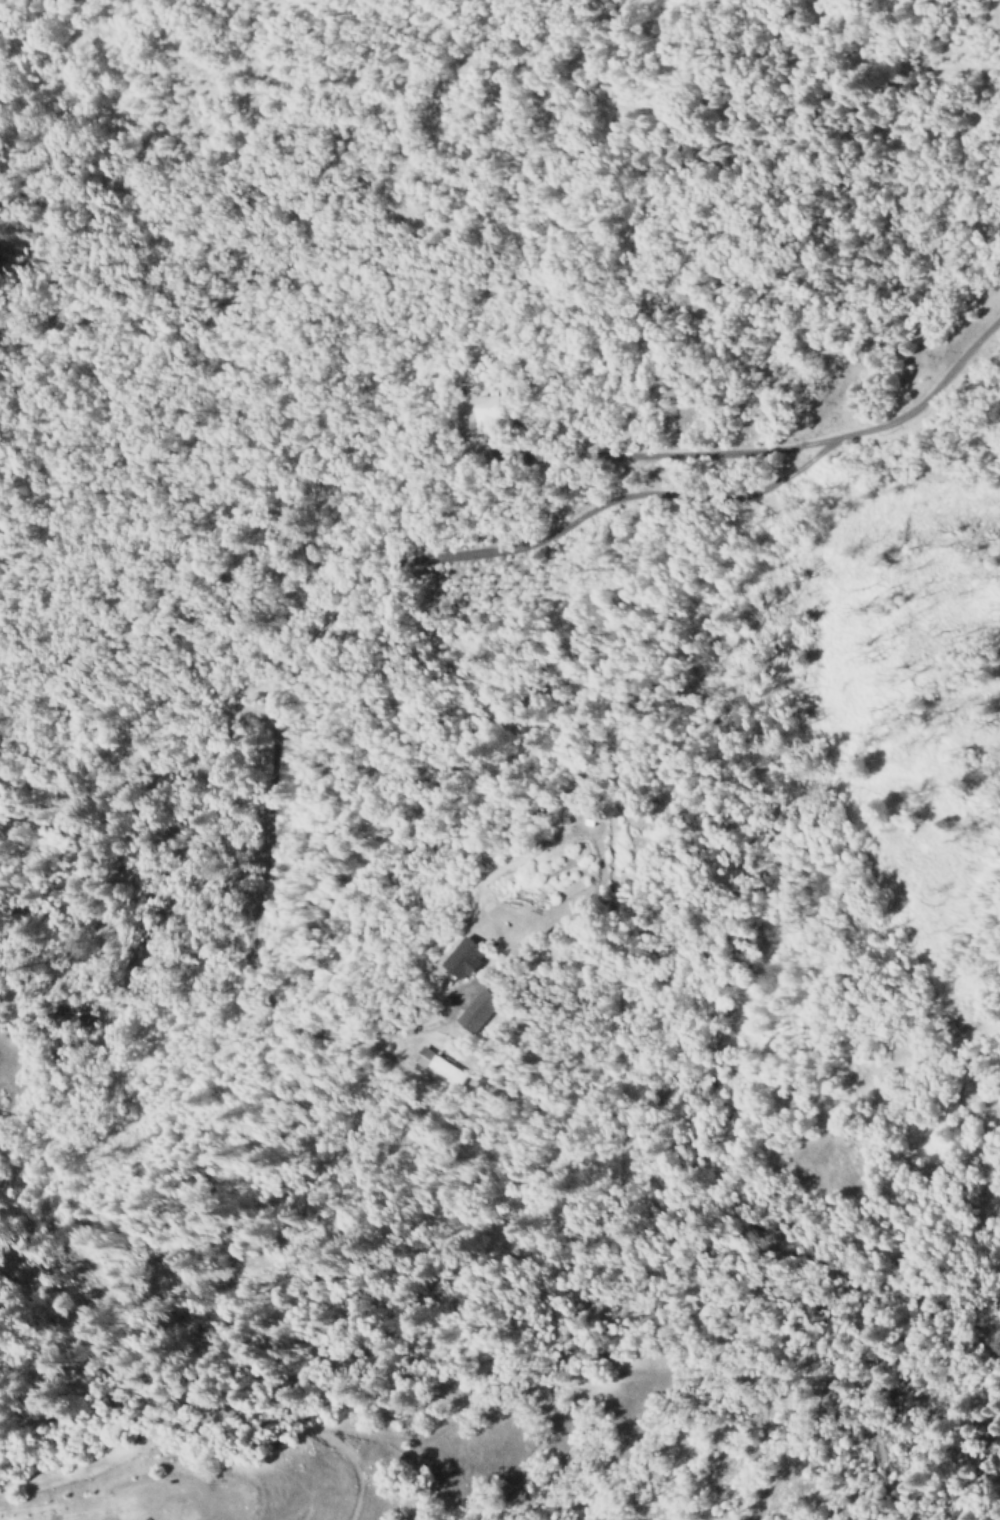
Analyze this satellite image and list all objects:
road: (930, 395)
road: (664, 457)
road: (302, 638)
building: (459, 958)
road: (994, 1030)
road: (184, 1427)

